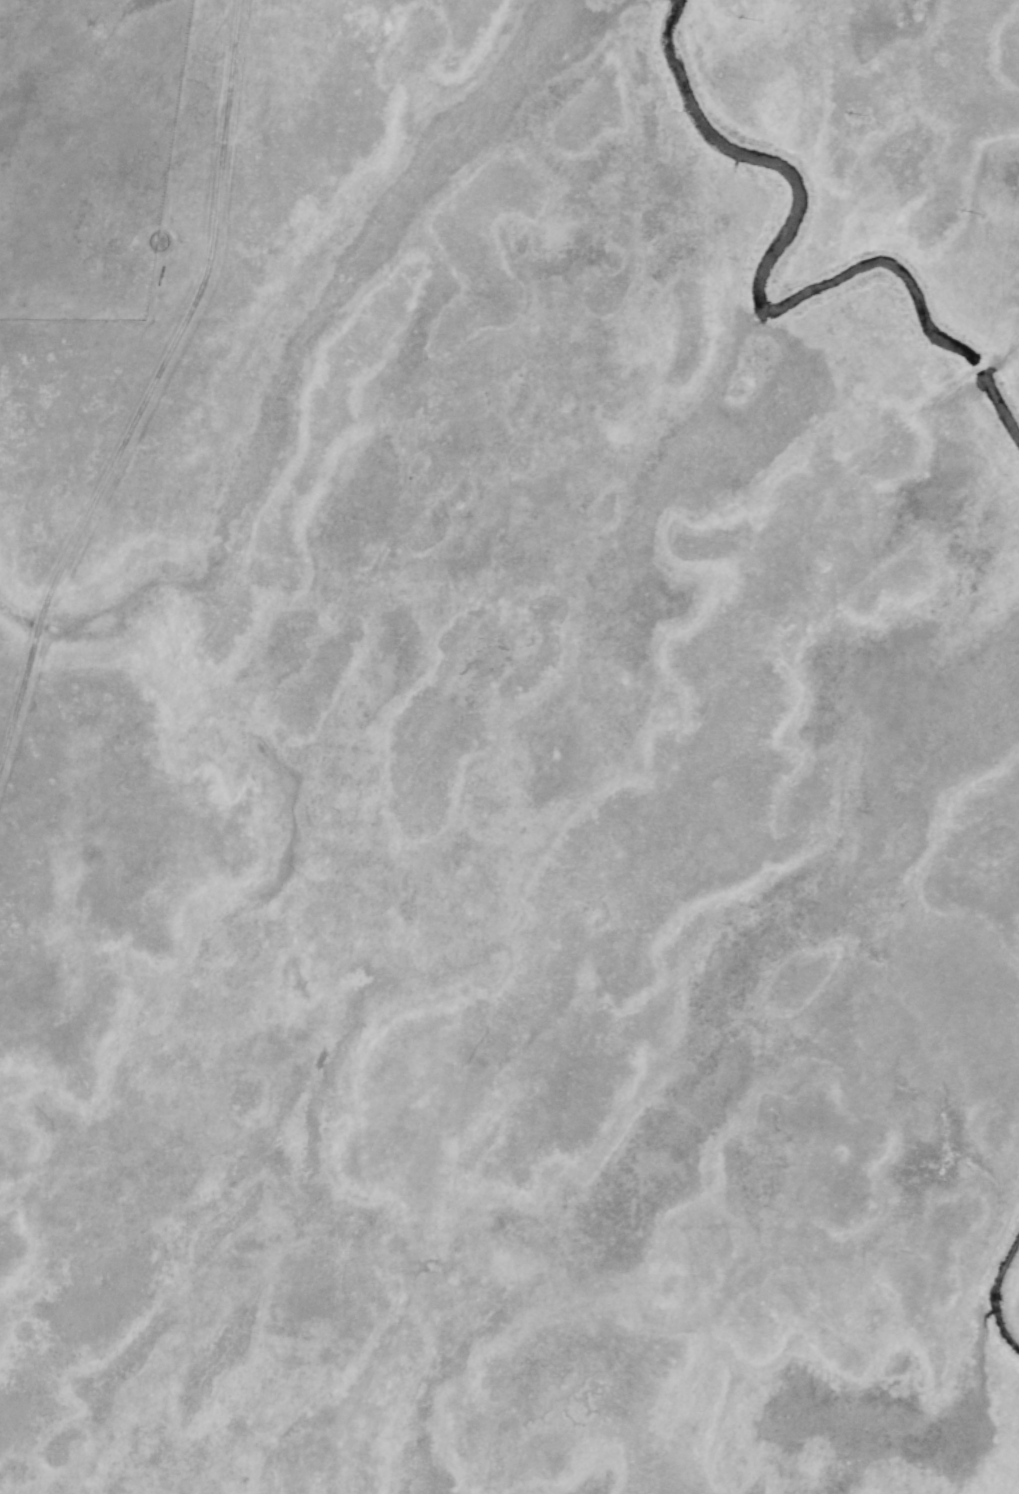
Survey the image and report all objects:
road: (145, 357)
crop: (474, 703)
crop: (998, 997)
crop: (1003, 1370)

